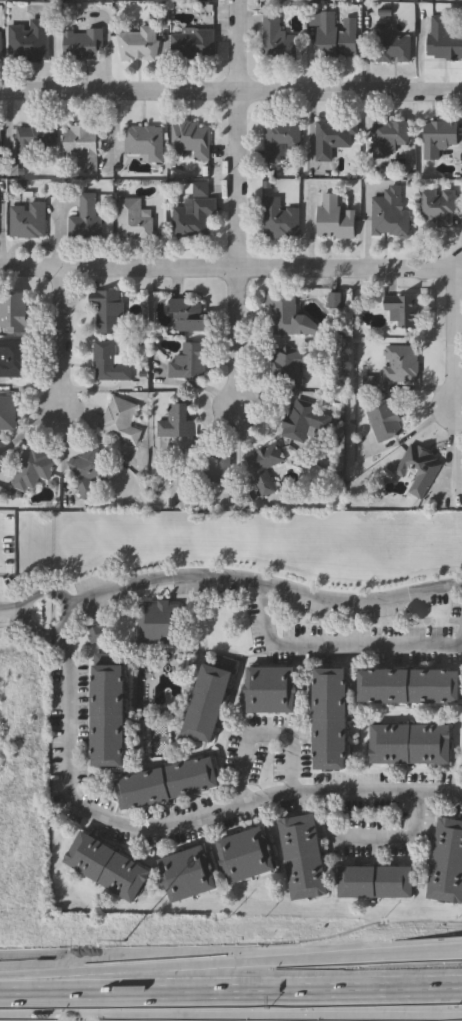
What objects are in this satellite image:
building: (421, 0)
building: (334, 37)
building: (442, 39)
building: (30, 41)
building: (276, 41)
building: (193, 44)
building: (390, 44)
building: (84, 45)
building: (139, 45)
building: (0, 47)
road: (119, 95)
road: (350, 95)
road: (238, 134)
building: (279, 136)
building: (331, 136)
building: (389, 136)
building: (439, 137)
building: (190, 140)
building: (145, 141)
building: (40, 143)
building: (0, 146)
building: (83, 146)
building: (438, 205)
building: (194, 213)
building: (389, 213)
building: (334, 217)
building: (129, 218)
building: (280, 219)
building: (28, 220)
building: (87, 220)
road: (347, 269)
road: (118, 270)
building: (401, 309)
building: (14, 313)
building: (110, 313)
building: (289, 314)
building: (189, 315)
road: (239, 334)
road: (62, 341)
road: (457, 342)
building: (14, 358)
building: (189, 362)
building: (400, 362)
building: (110, 363)
building: (290, 364)
building: (8, 415)
building: (307, 416)
building: (384, 418)
building: (121, 421)
building: (178, 422)
building: (461, 459)
building: (263, 466)
building: (215, 468)
building: (418, 468)
building: (33, 469)
building: (89, 471)
road: (264, 584)
road: (14, 613)
road: (68, 613)
building: (158, 623)
road: (337, 654)
building: (411, 686)
building: (271, 691)
building: (208, 704)
building: (110, 716)
building: (332, 719)
road: (71, 728)
road: (264, 731)
building: (410, 745)
building: (166, 784)
road: (275, 797)
road: (373, 839)
building: (249, 857)
building: (303, 858)
building: (447, 864)
building: (106, 868)
building: (187, 875)
building: (376, 883)
road: (230, 962)
road: (230, 991)

